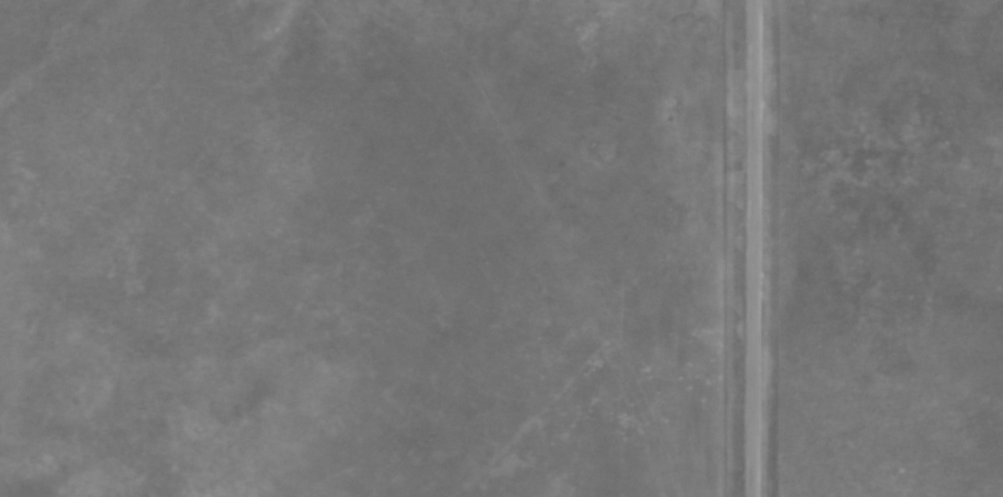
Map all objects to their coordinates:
road: (749, 248)

